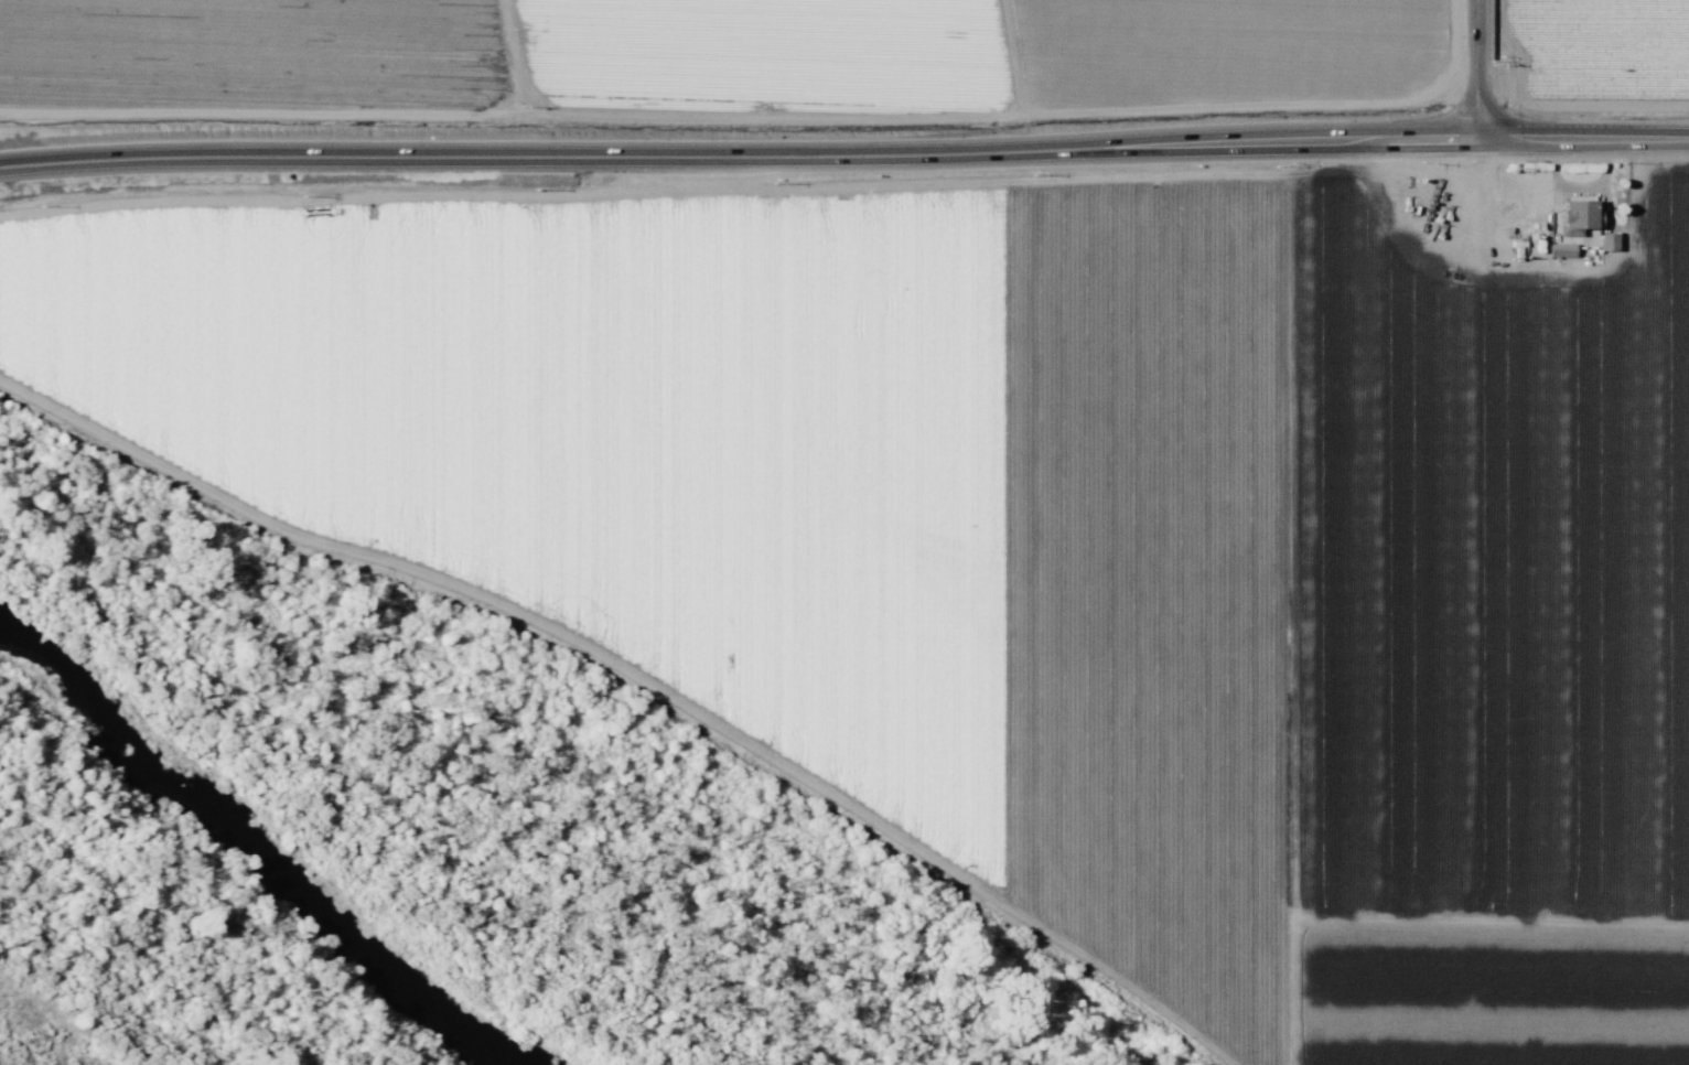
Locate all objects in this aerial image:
crop: (850, 50)
road: (1477, 69)
road: (843, 144)
building: (1575, 215)
building: (1559, 249)
crop: (1032, 537)

